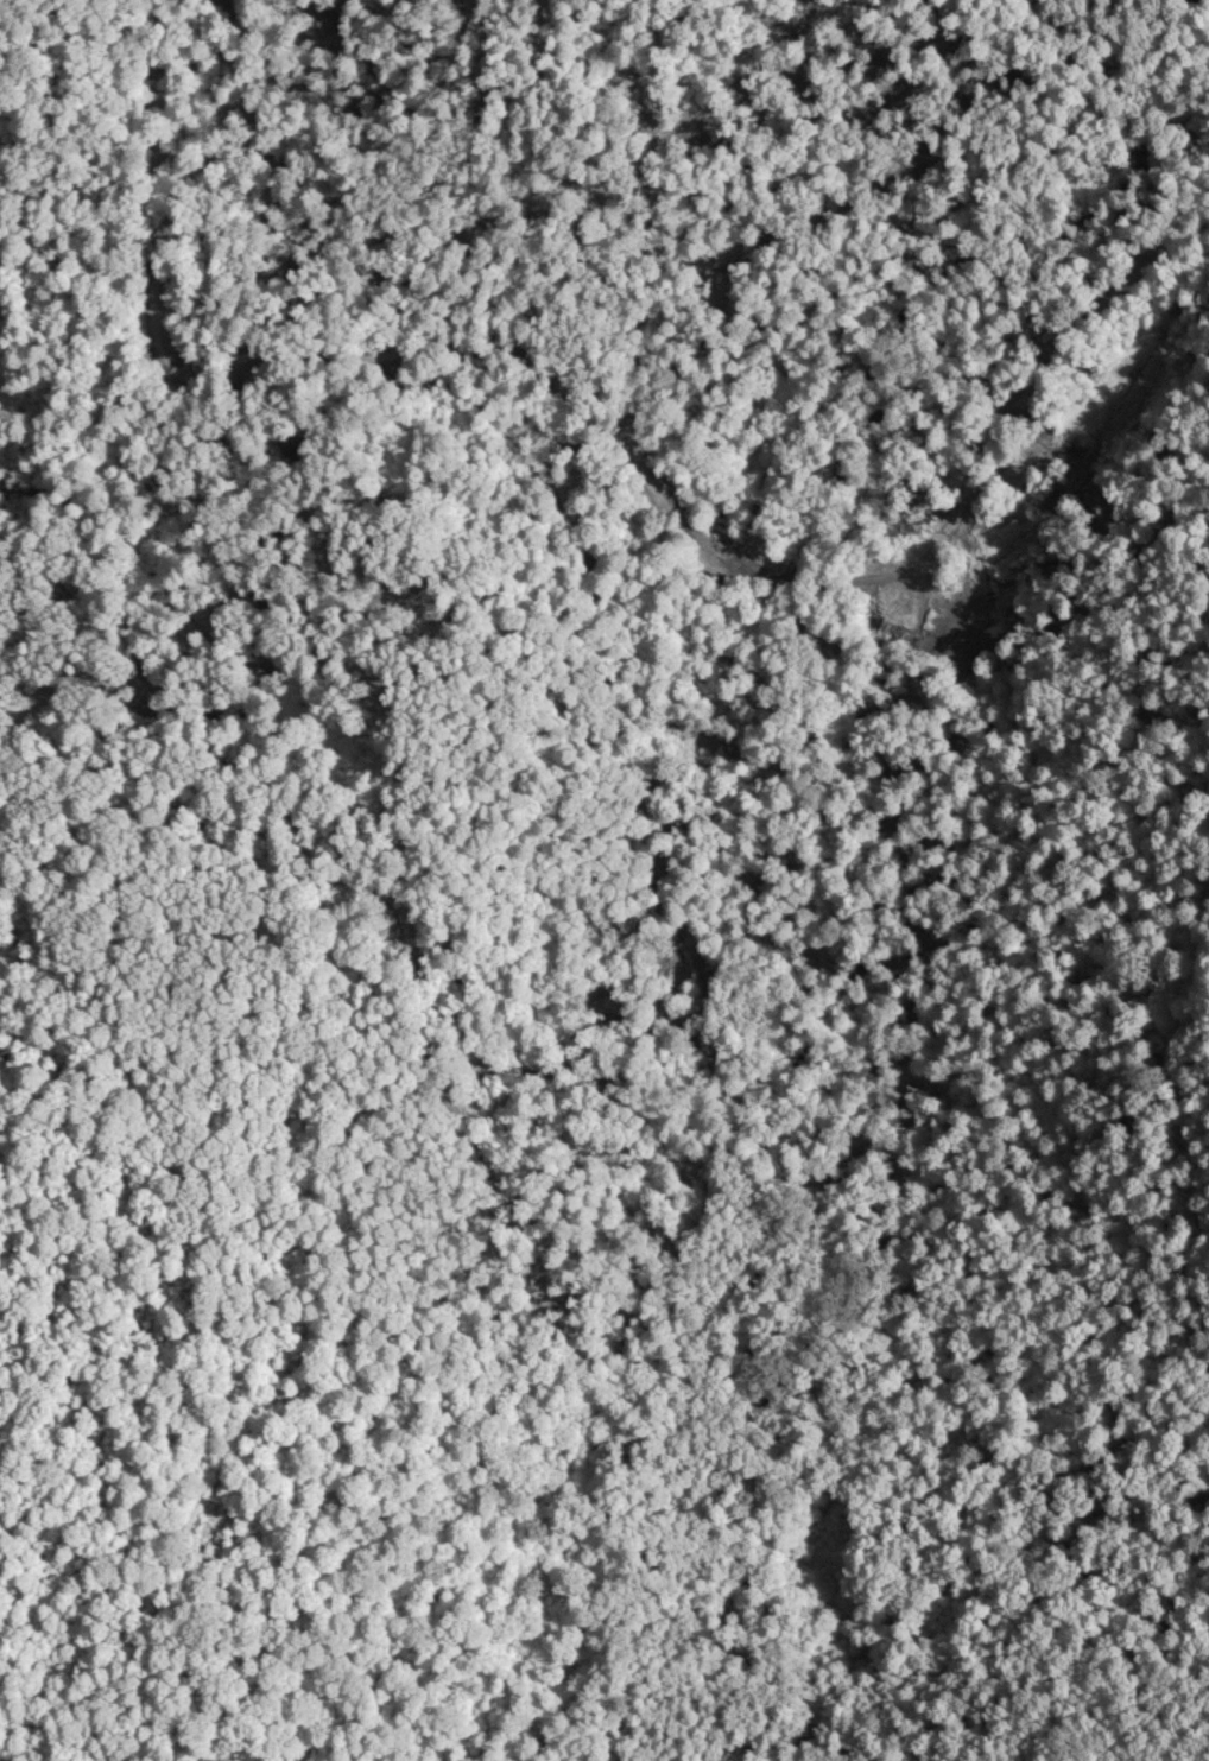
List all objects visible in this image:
road: (166, 89)
road: (189, 243)
road: (1151, 251)
road: (1152, 399)
road: (691, 511)
road: (267, 981)
road: (1202, 1138)

